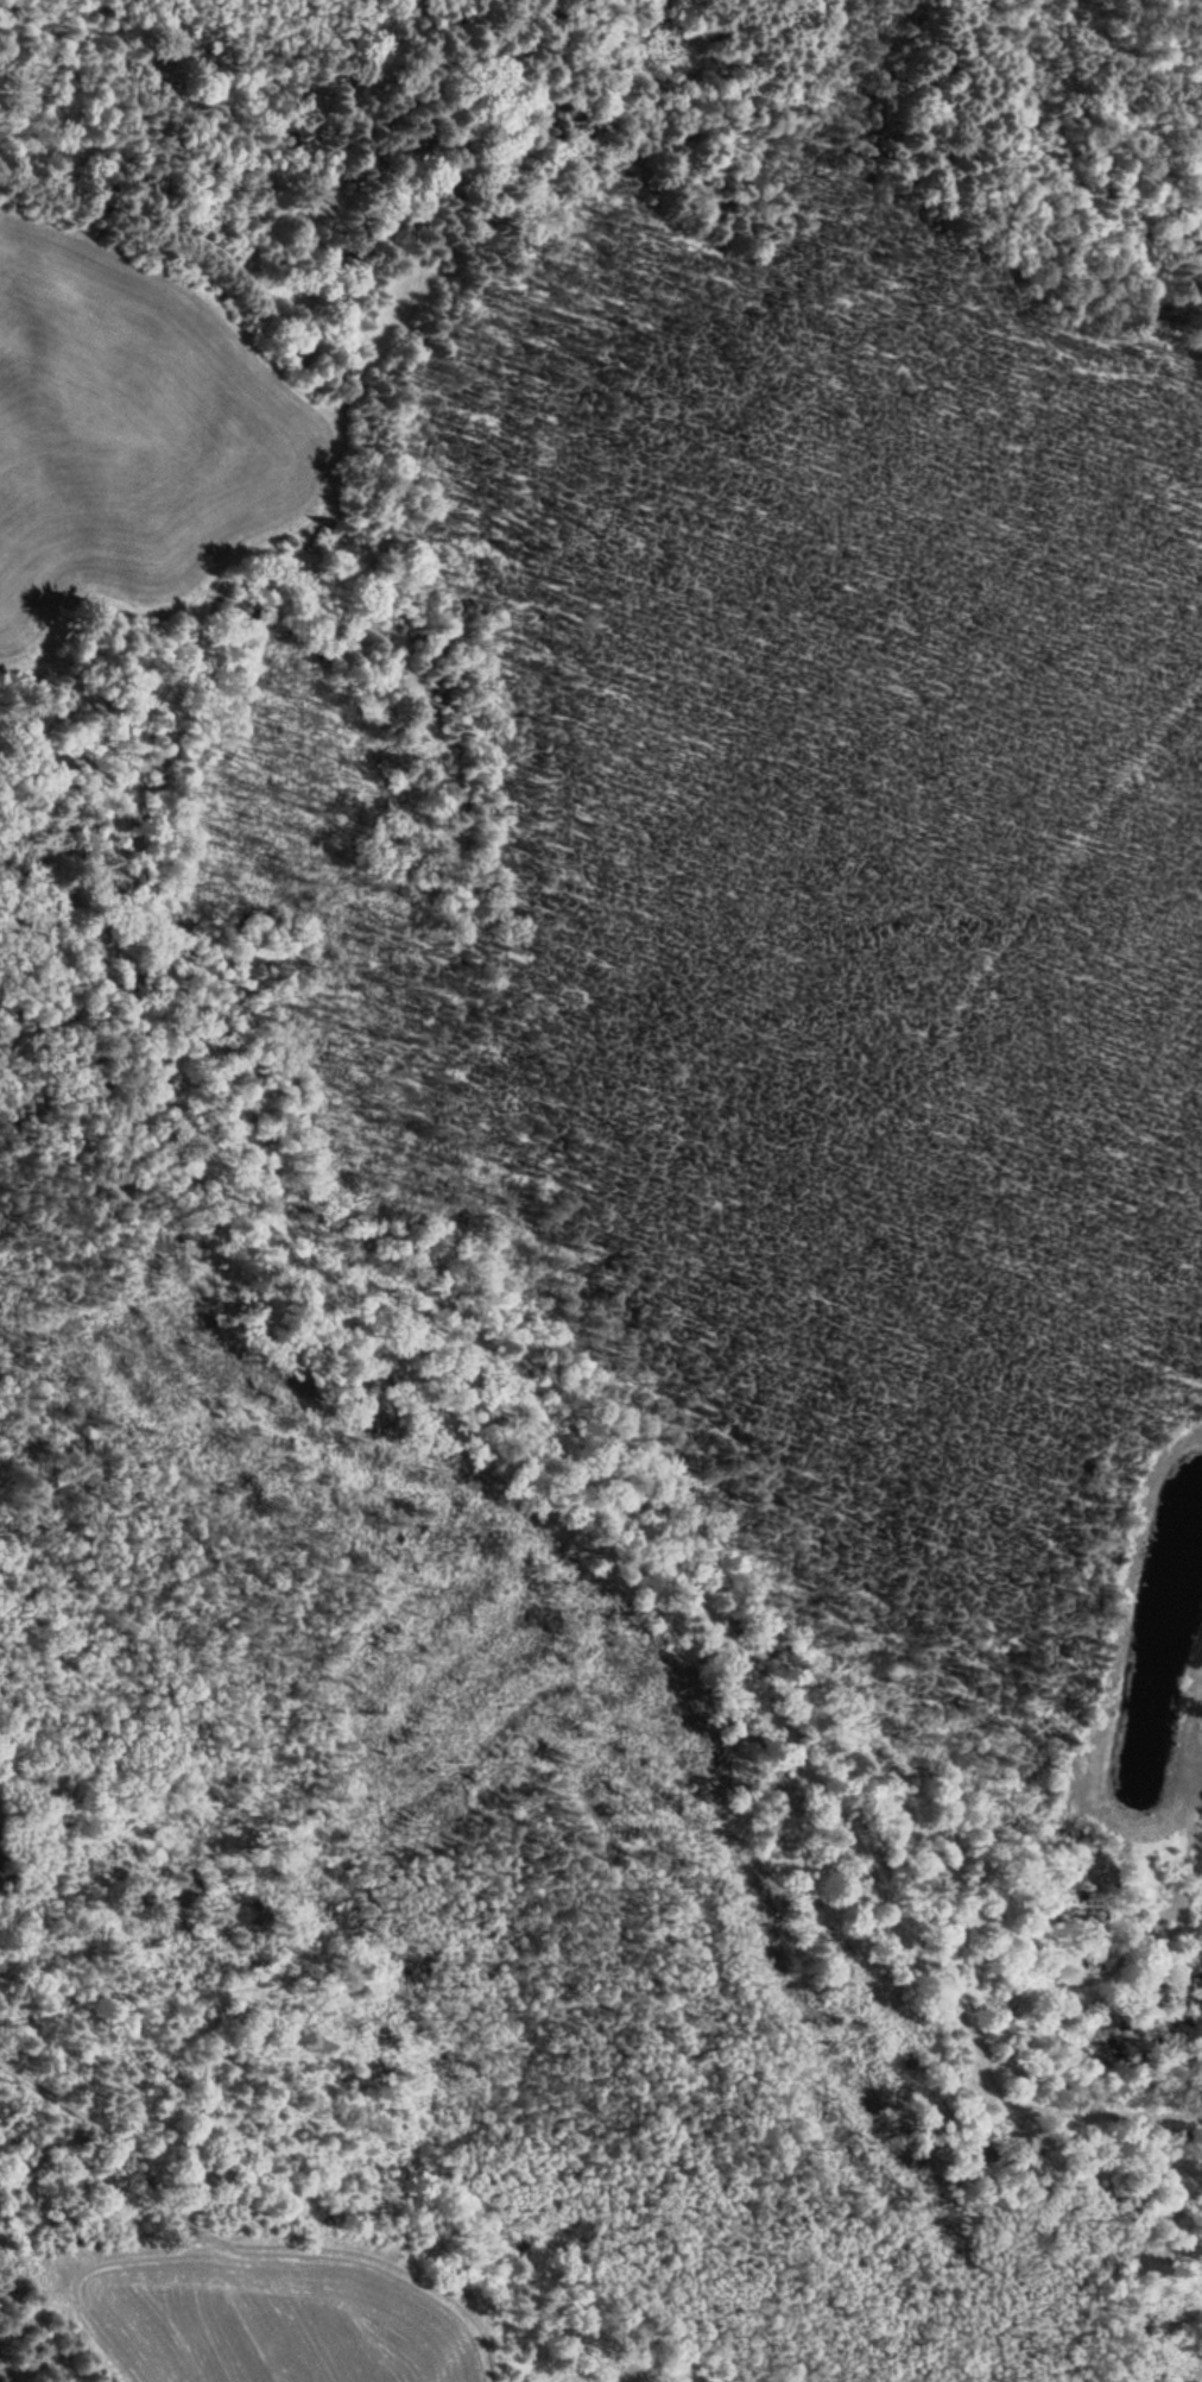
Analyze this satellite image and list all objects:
road: (245, 2244)

